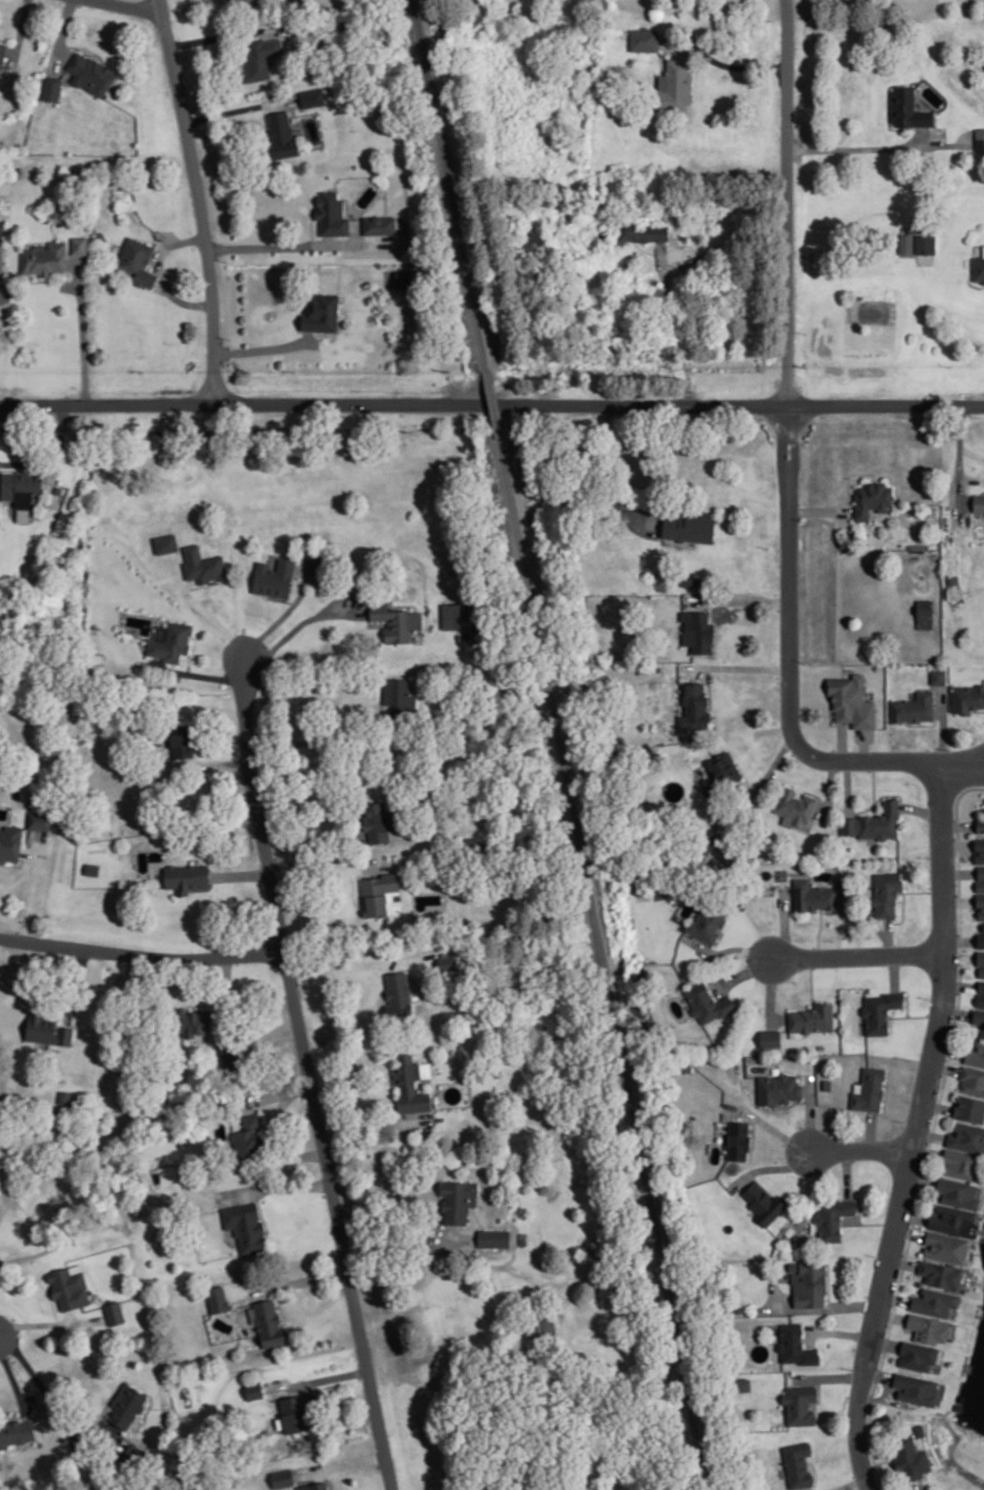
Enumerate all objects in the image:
building: (232, 0)
road: (130, 6)
road: (21, 32)
road: (222, 34)
road: (61, 35)
building: (643, 40)
road: (84, 47)
building: (2, 53)
building: (261, 56)
road: (741, 64)
building: (91, 72)
building: (674, 86)
building: (52, 87)
building: (312, 96)
building: (907, 106)
road: (240, 107)
building: (281, 135)
building: (980, 137)
road: (945, 143)
road: (863, 147)
railway: (449, 184)
road: (200, 199)
road: (787, 210)
building: (331, 213)
building: (379, 224)
building: (2, 227)
building: (631, 235)
building: (102, 236)
building: (905, 242)
building: (925, 243)
building: (79, 244)
road: (723, 245)
road: (303, 246)
road: (644, 249)
building: (45, 258)
building: (136, 260)
building: (979, 267)
road: (161, 271)
road: (55, 279)
flagpole: (280, 303)
building: (322, 312)
road: (674, 325)
road: (82, 329)
flagpole: (171, 342)
road: (264, 347)
railway: (490, 404)
road: (491, 404)
flagpole: (865, 431)
flagpole: (870, 431)
flagpole: (875, 431)
flagpole: (880, 431)
road: (54, 457)
road: (783, 457)
road: (796, 457)
road: (960, 462)
road: (609, 475)
road: (849, 477)
flagpole: (855, 477)
building: (21, 486)
building: (58, 489)
building: (871, 498)
building: (979, 502)
road: (821, 510)
building: (690, 526)
building: (166, 542)
building: (203, 564)
building: (274, 577)
building: (952, 579)
road: (202, 585)
building: (954, 591)
road: (280, 598)
road: (740, 600)
road: (204, 608)
building: (925, 611)
building: (451, 614)
road: (281, 616)
building: (397, 621)
road: (298, 624)
building: (697, 630)
building: (416, 636)
building: (171, 640)
road: (191, 651)
road: (736, 666)
road: (201, 674)
building: (938, 674)
road: (791, 689)
building: (398, 692)
building: (968, 697)
building: (851, 699)
building: (913, 706)
building: (694, 707)
road: (943, 726)
building: (181, 739)
road: (300, 740)
road: (842, 741)
road: (222, 762)
road: (958, 767)
building: (724, 768)
road: (873, 780)
road: (761, 781)
road: (847, 787)
road: (828, 791)
building: (794, 806)
road: (920, 809)
building: (983, 809)
building: (39, 820)
building: (377, 820)
building: (873, 821)
road: (958, 824)
building: (980, 824)
building: (10, 841)
road: (957, 844)
building: (979, 848)
road: (328, 858)
road: (958, 872)
road: (241, 873)
building: (186, 875)
building: (980, 878)
road: (33, 885)
road: (921, 890)
building: (377, 891)
building: (886, 892)
building: (812, 894)
road: (959, 901)
building: (980, 903)
road: (902, 912)
building: (707, 921)
road: (784, 923)
building: (983, 925)
road: (818, 932)
road: (888, 935)
road: (718, 937)
building: (980, 939)
road: (960, 940)
road: (727, 948)
road: (142, 954)
street lamp: (746, 954)
road: (859, 955)
road: (961, 956)
building: (980, 957)
building: (446, 963)
railway: (604, 963)
road: (345, 965)
road: (289, 970)
road: (743, 971)
building: (981, 971)
road: (894, 972)
road: (78, 979)
road: (811, 981)
road: (961, 984)
road: (771, 991)
building: (980, 993)
building: (398, 994)
road: (907, 995)
building: (707, 1002)
building: (880, 1010)
road: (956, 1011)
road: (915, 1014)
building: (978, 1015)
building: (813, 1017)
building: (193, 1020)
building: (47, 1028)
road: (281, 1028)
building: (983, 1032)
building: (770, 1037)
road: (949, 1049)
building: (975, 1053)
building: (685, 1065)
road: (946, 1066)
building: (972, 1079)
building: (410, 1083)
building: (827, 1083)
building: (778, 1087)
building: (869, 1088)
road: (276, 1094)
road: (884, 1100)
road: (283, 1101)
road: (792, 1102)
road: (938, 1105)
building: (969, 1107)
road: (810, 1112)
road: (373, 1118)
road: (770, 1125)
road: (871, 1129)
road: (918, 1130)
road: (932, 1131)
road: (754, 1133)
road: (930, 1134)
building: (248, 1135)
building: (967, 1136)
building: (738, 1140)
road: (862, 1149)
road: (928, 1150)
road: (299, 1153)
building: (0, 1157)
street lamp: (785, 1157)
building: (960, 1161)
road: (774, 1167)
road: (847, 1173)
road: (922, 1179)
road: (762, 1183)
road: (275, 1185)
building: (958, 1192)
building: (457, 1198)
building: (763, 1202)
road: (860, 1204)
road: (260, 1210)
road: (913, 1215)
building: (833, 1217)
building: (953, 1219)
road: (869, 1222)
building: (245, 1225)
road: (401, 1227)
road: (910, 1232)
building: (494, 1236)
building: (946, 1245)
pier: (982, 1252)
road: (903, 1261)
building: (793, 1265)
building: (941, 1273)
road: (302, 1279)
building: (810, 1283)
road: (828, 1283)
building: (68, 1286)
road: (776, 1296)
building: (218, 1298)
road: (896, 1298)
building: (934, 1301)
building: (730, 1308)
building: (740, 1308)
road: (819, 1308)
road: (54, 1309)
pier: (980, 1311)
building: (114, 1312)
road: (892, 1315)
road: (71, 1316)
road: (51, 1322)
building: (269, 1322)
building: (547, 1327)
building: (928, 1327)
road: (840, 1331)
road: (886, 1342)
building: (794, 1344)
building: (917, 1354)
pier: (968, 1366)
road: (878, 1374)
road: (828, 1376)
road: (13, 1380)
road: (316, 1380)
building: (741, 1383)
road: (371, 1386)
building: (254, 1389)
building: (915, 1389)
road: (819, 1393)
road: (880, 1395)
road: (34, 1399)
road: (48, 1399)
pier: (959, 1400)
road: (895, 1401)
building: (127, 1403)
building: (800, 1403)
building: (296, 1412)
building: (920, 1428)
building: (16, 1433)
building: (133, 1456)
building: (909, 1459)
building: (798, 1463)
road: (341, 1464)
building: (283, 1476)
road: (329, 1477)
road: (847, 1484)
road: (919, 1484)
building: (314, 1486)
building: (562, 1489)

